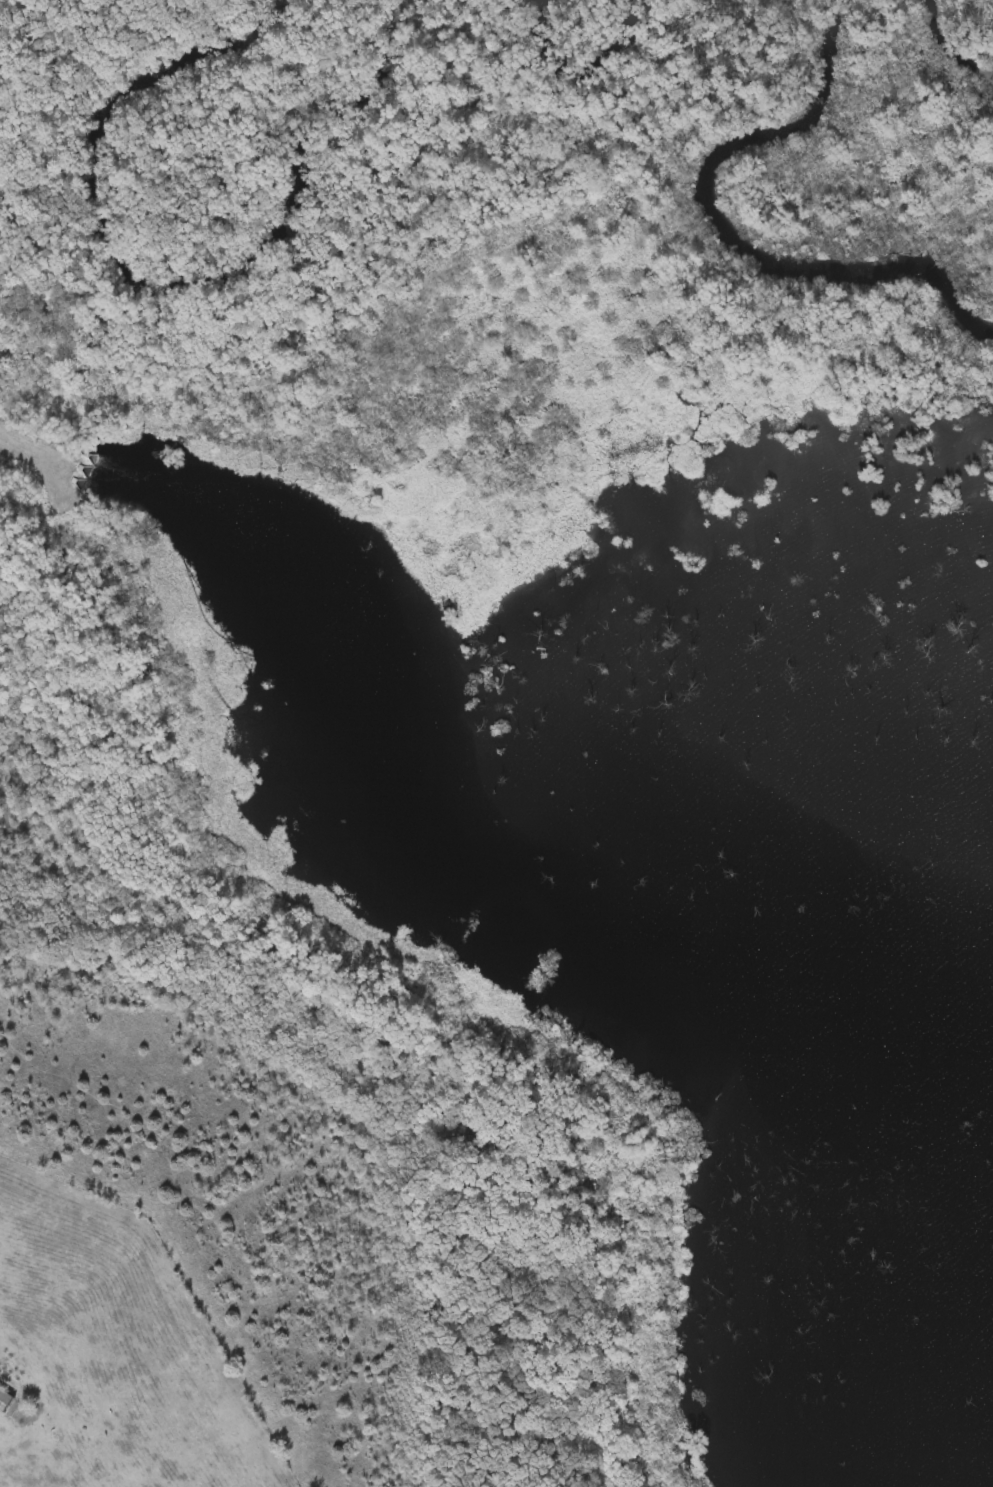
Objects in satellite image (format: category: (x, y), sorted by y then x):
building: (13, 1405)
road: (3, 1476)

